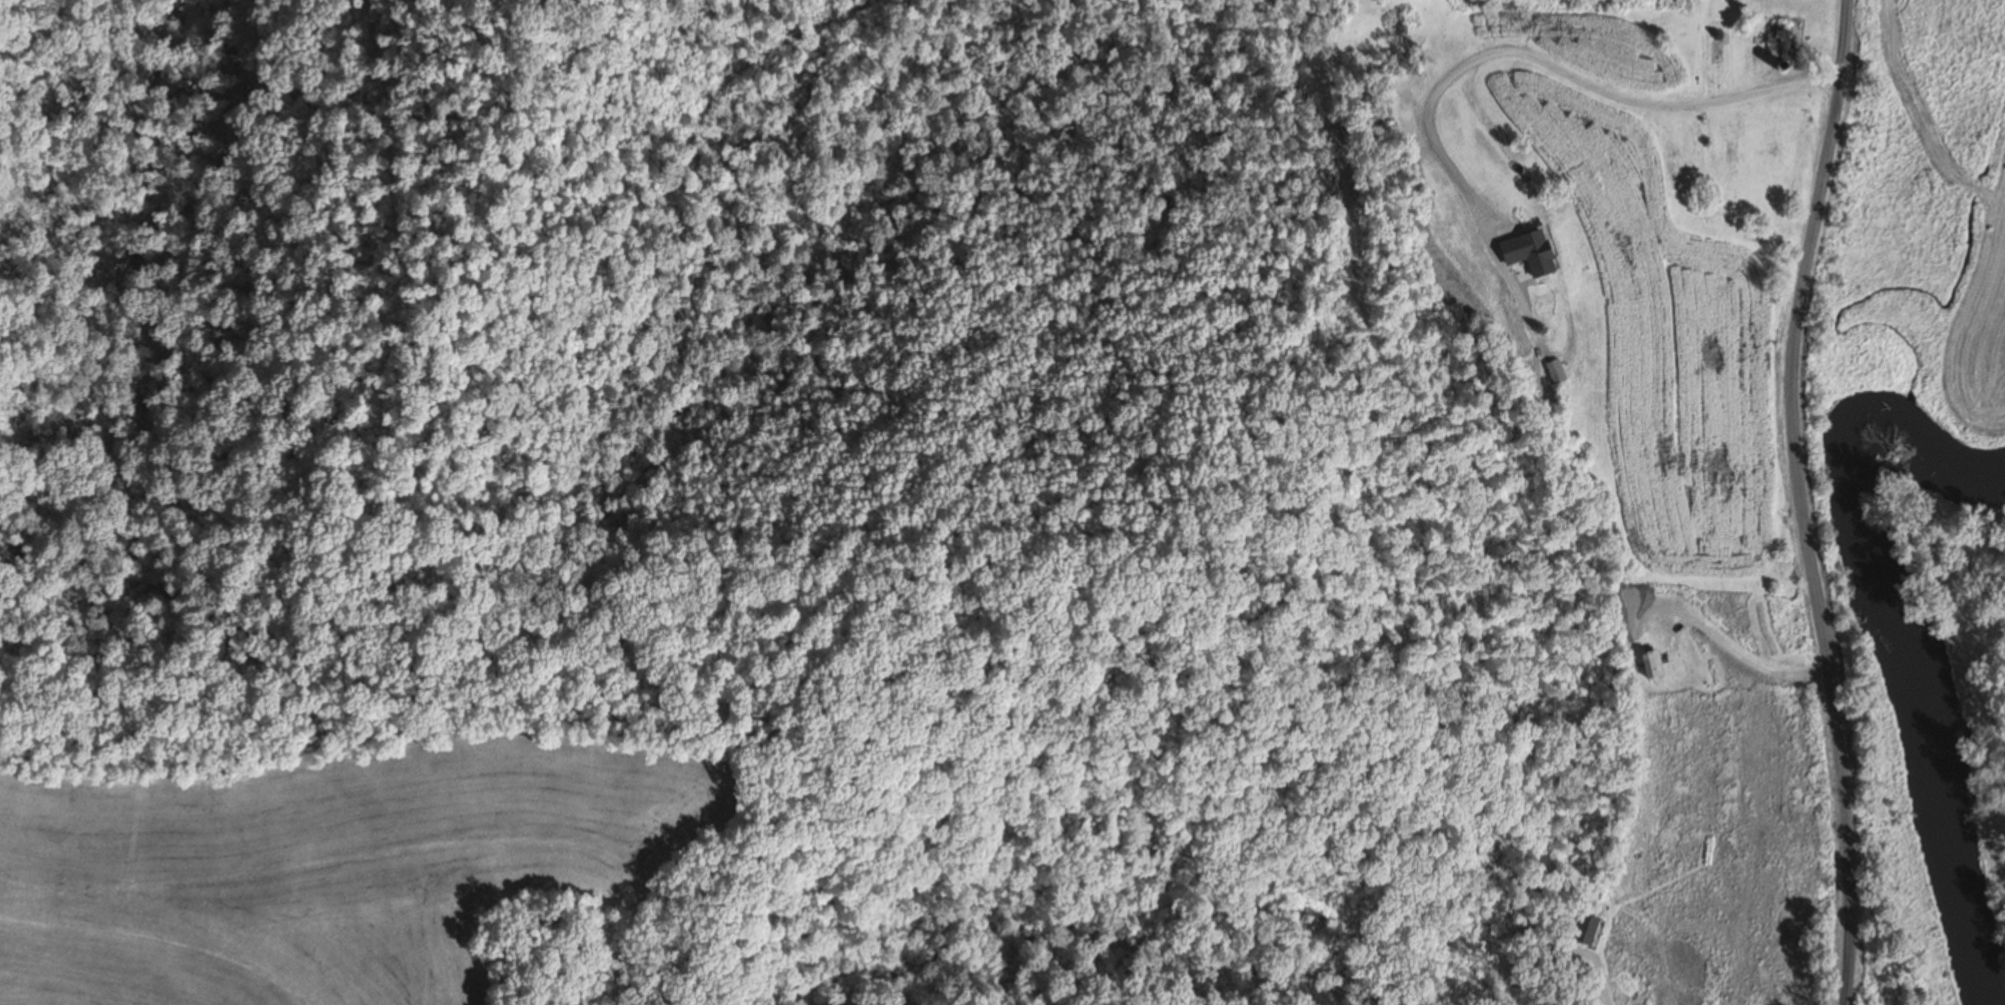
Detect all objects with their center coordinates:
building: (1780, 39)
building: (1770, 114)
building: (1535, 300)
building: (1554, 374)
road: (1796, 502)
river: (1877, 575)
road: (1597, 984)

